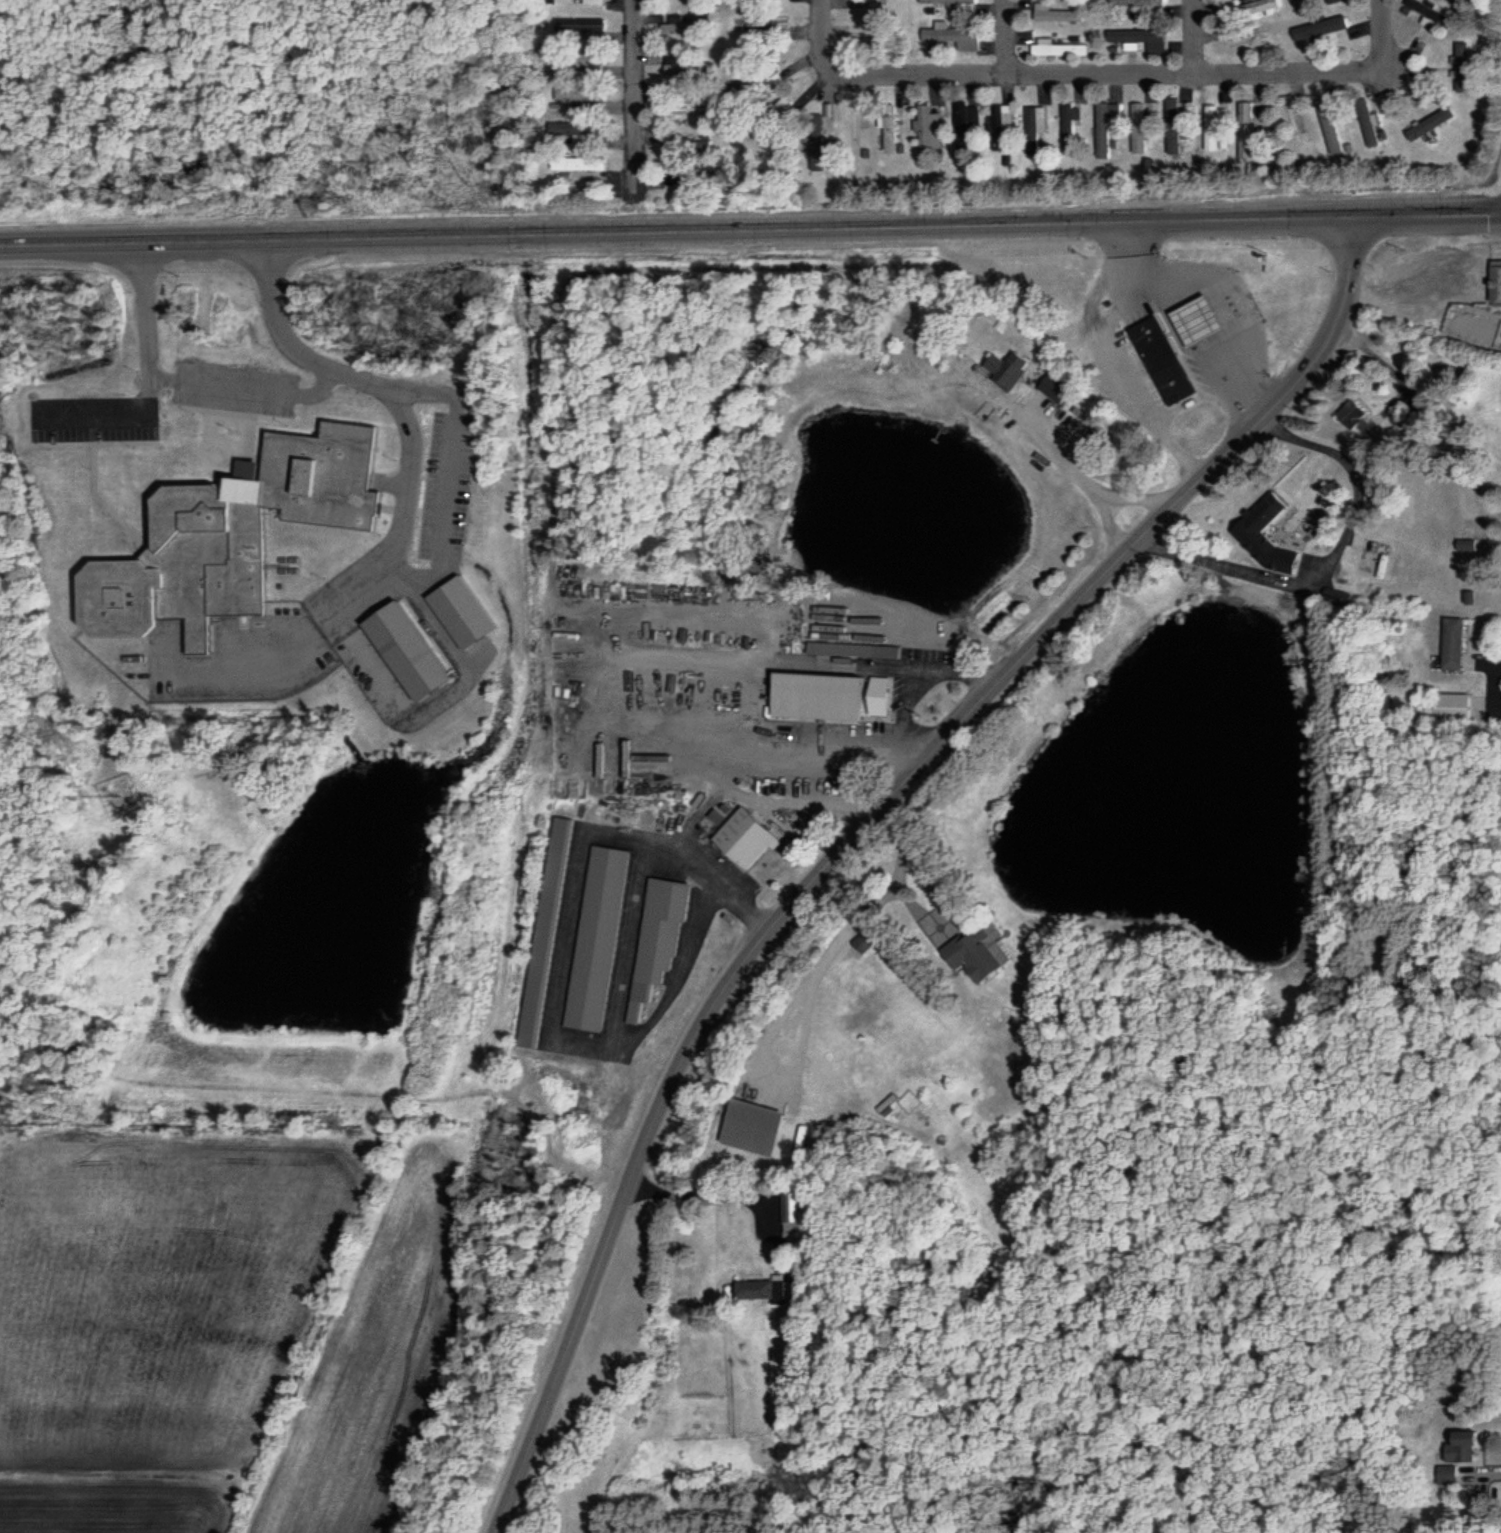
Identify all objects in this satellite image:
building: (1296, 0)
building: (1334, 1)
building: (593, 2)
building: (951, 2)
building: (1141, 3)
building: (1253, 7)
building: (1061, 13)
building: (1433, 13)
building: (582, 24)
building: (763, 24)
building: (688, 28)
building: (1325, 28)
building: (1235, 35)
road: (1004, 36)
building: (961, 37)
road: (1194, 37)
building: (1141, 41)
building: (1065, 48)
building: (690, 69)
road: (1105, 73)
building: (584, 93)
road: (632, 93)
building: (690, 105)
building: (1250, 114)
building: (1108, 118)
building: (1035, 119)
building: (1331, 122)
building: (1298, 123)
building: (1434, 123)
building: (857, 124)
building: (961, 125)
building: (1070, 125)
building: (892, 126)
building: (1000, 126)
building: (928, 127)
building: (1215, 127)
building: (1142, 128)
building: (582, 130)
building: (681, 135)
building: (819, 159)
building: (590, 163)
road: (1431, 213)
road: (680, 228)
road: (1406, 288)
road: (143, 316)
gas station: (1206, 320)
building: (1205, 321)
building: (1472, 323)
road: (1178, 328)
building: (1169, 359)
road: (248, 390)
road: (101, 412)
road: (408, 477)
road: (448, 488)
building: (1474, 510)
building: (237, 534)
building: (1263, 537)
road: (1325, 560)
building: (1459, 643)
building: (417, 649)
building: (860, 650)
road: (624, 667)
building: (863, 693)
building: (1458, 707)
road: (862, 827)
building: (751, 835)
building: (549, 930)
building: (600, 935)
building: (658, 940)
building: (979, 956)
road: (566, 960)
road: (678, 973)
building: (757, 1126)
building: (790, 1205)
building: (759, 1288)
crop: (271, 1314)
building: (1461, 1446)
building: (1446, 1474)
park: (515, 1517)

